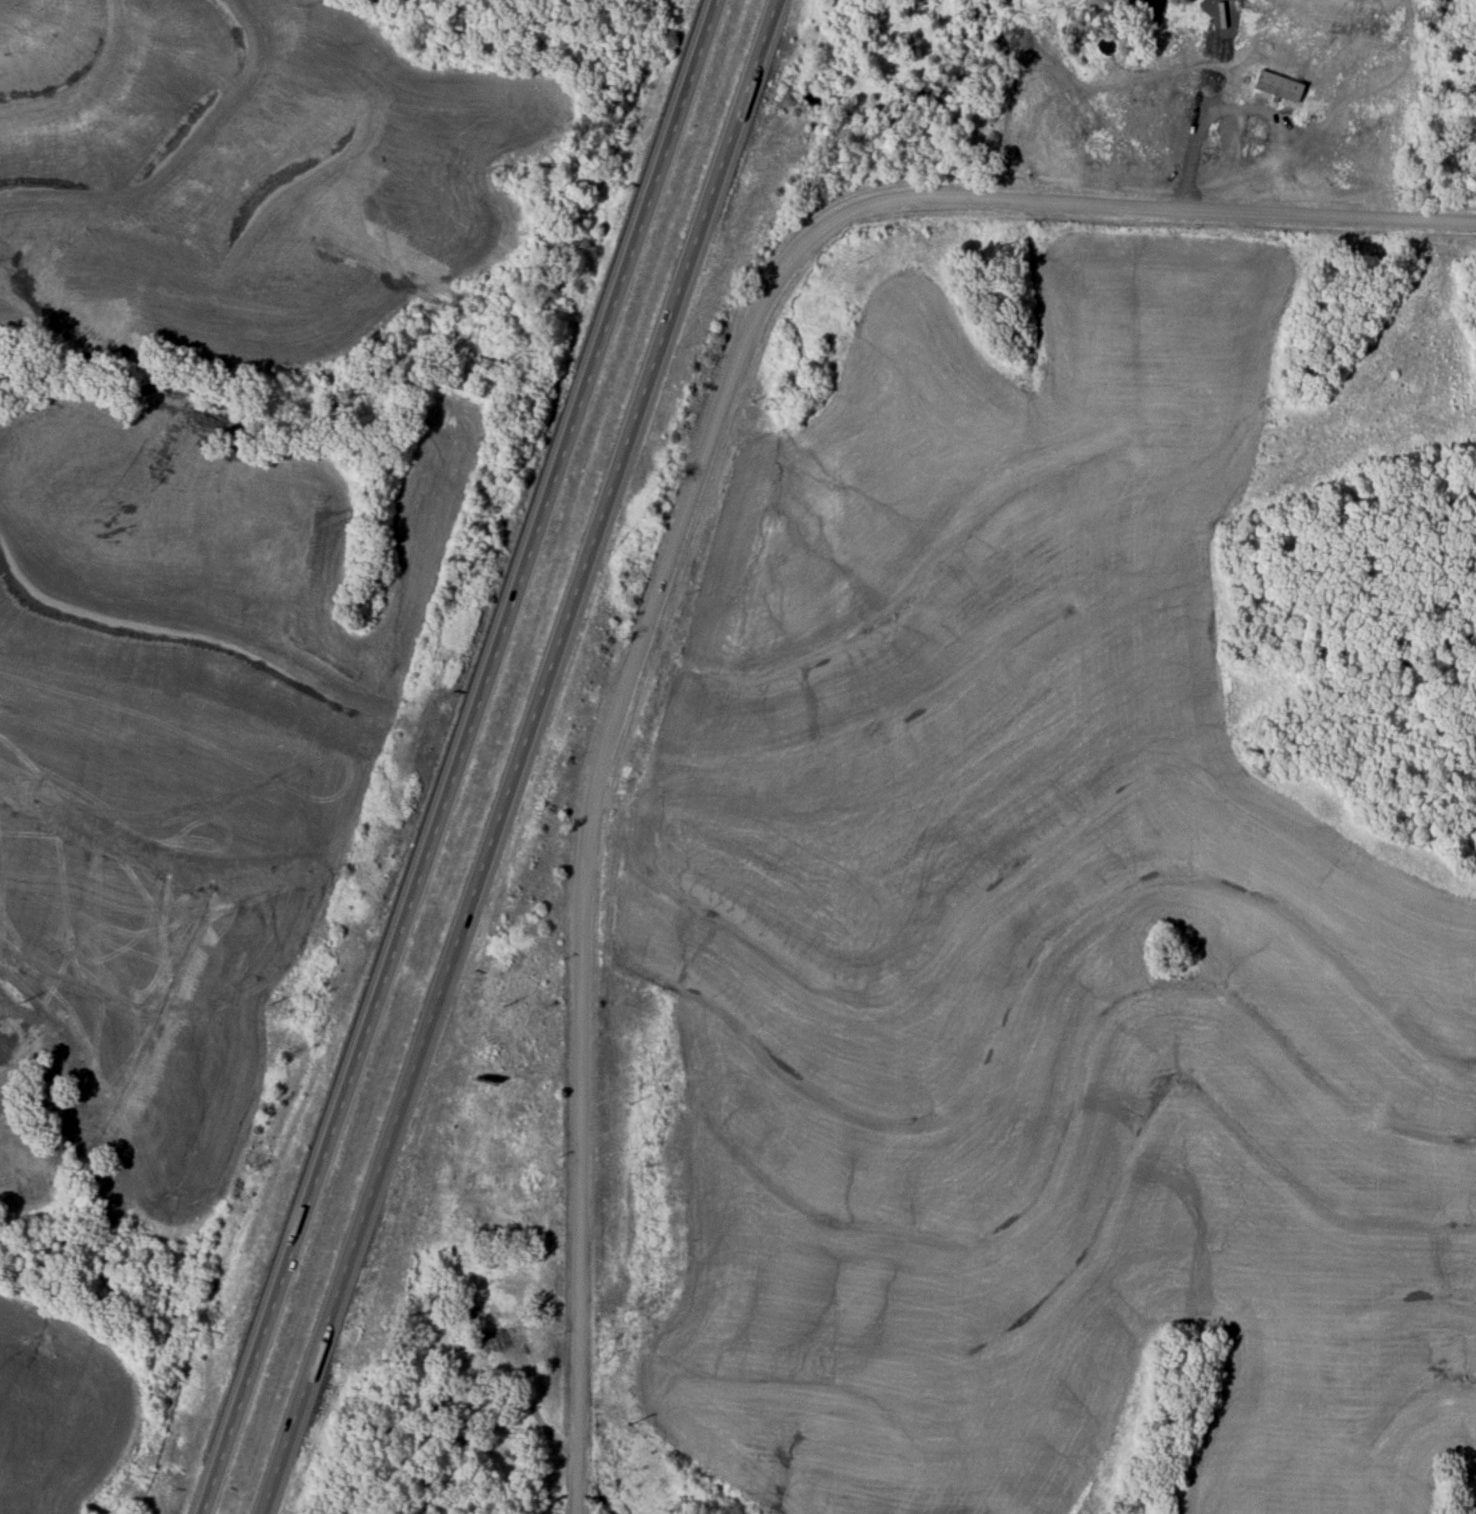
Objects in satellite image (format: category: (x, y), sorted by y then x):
building: (1279, 88)
building: (1317, 106)
building: (1379, 106)
building: (1259, 150)
road: (1129, 206)
road: (458, 756)
road: (520, 756)
road: (586, 860)
building: (486, 1365)
road: (525, 1391)

